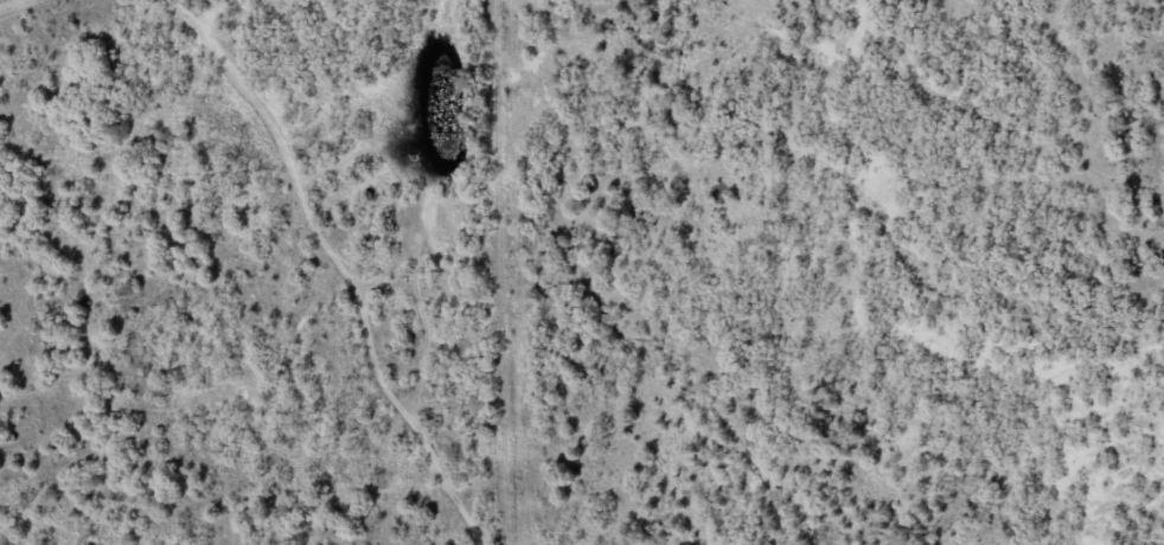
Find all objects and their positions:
road: (865, 165)
road: (340, 264)

